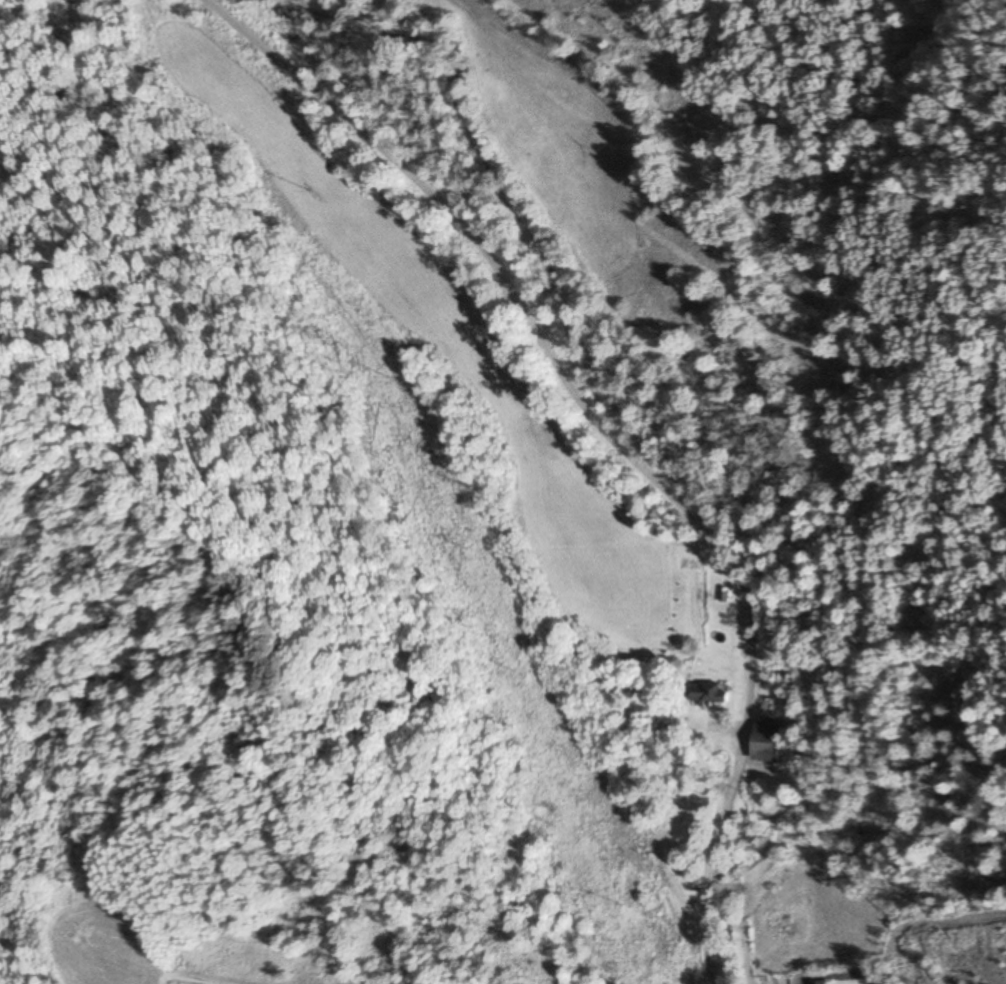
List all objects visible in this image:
road: (610, 438)
building: (707, 694)
building: (769, 743)
building: (822, 983)

